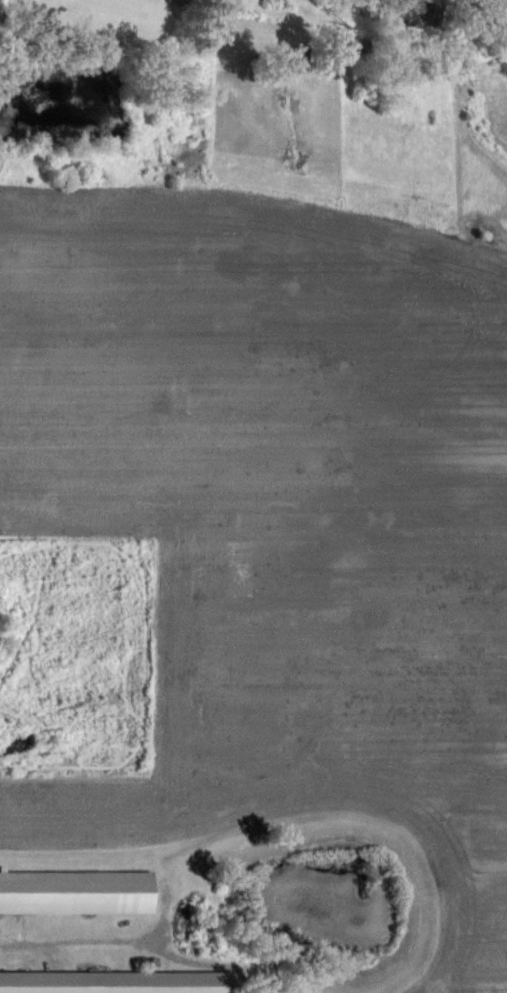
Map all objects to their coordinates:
building: (425, 25)
building: (80, 906)
building: (118, 989)

